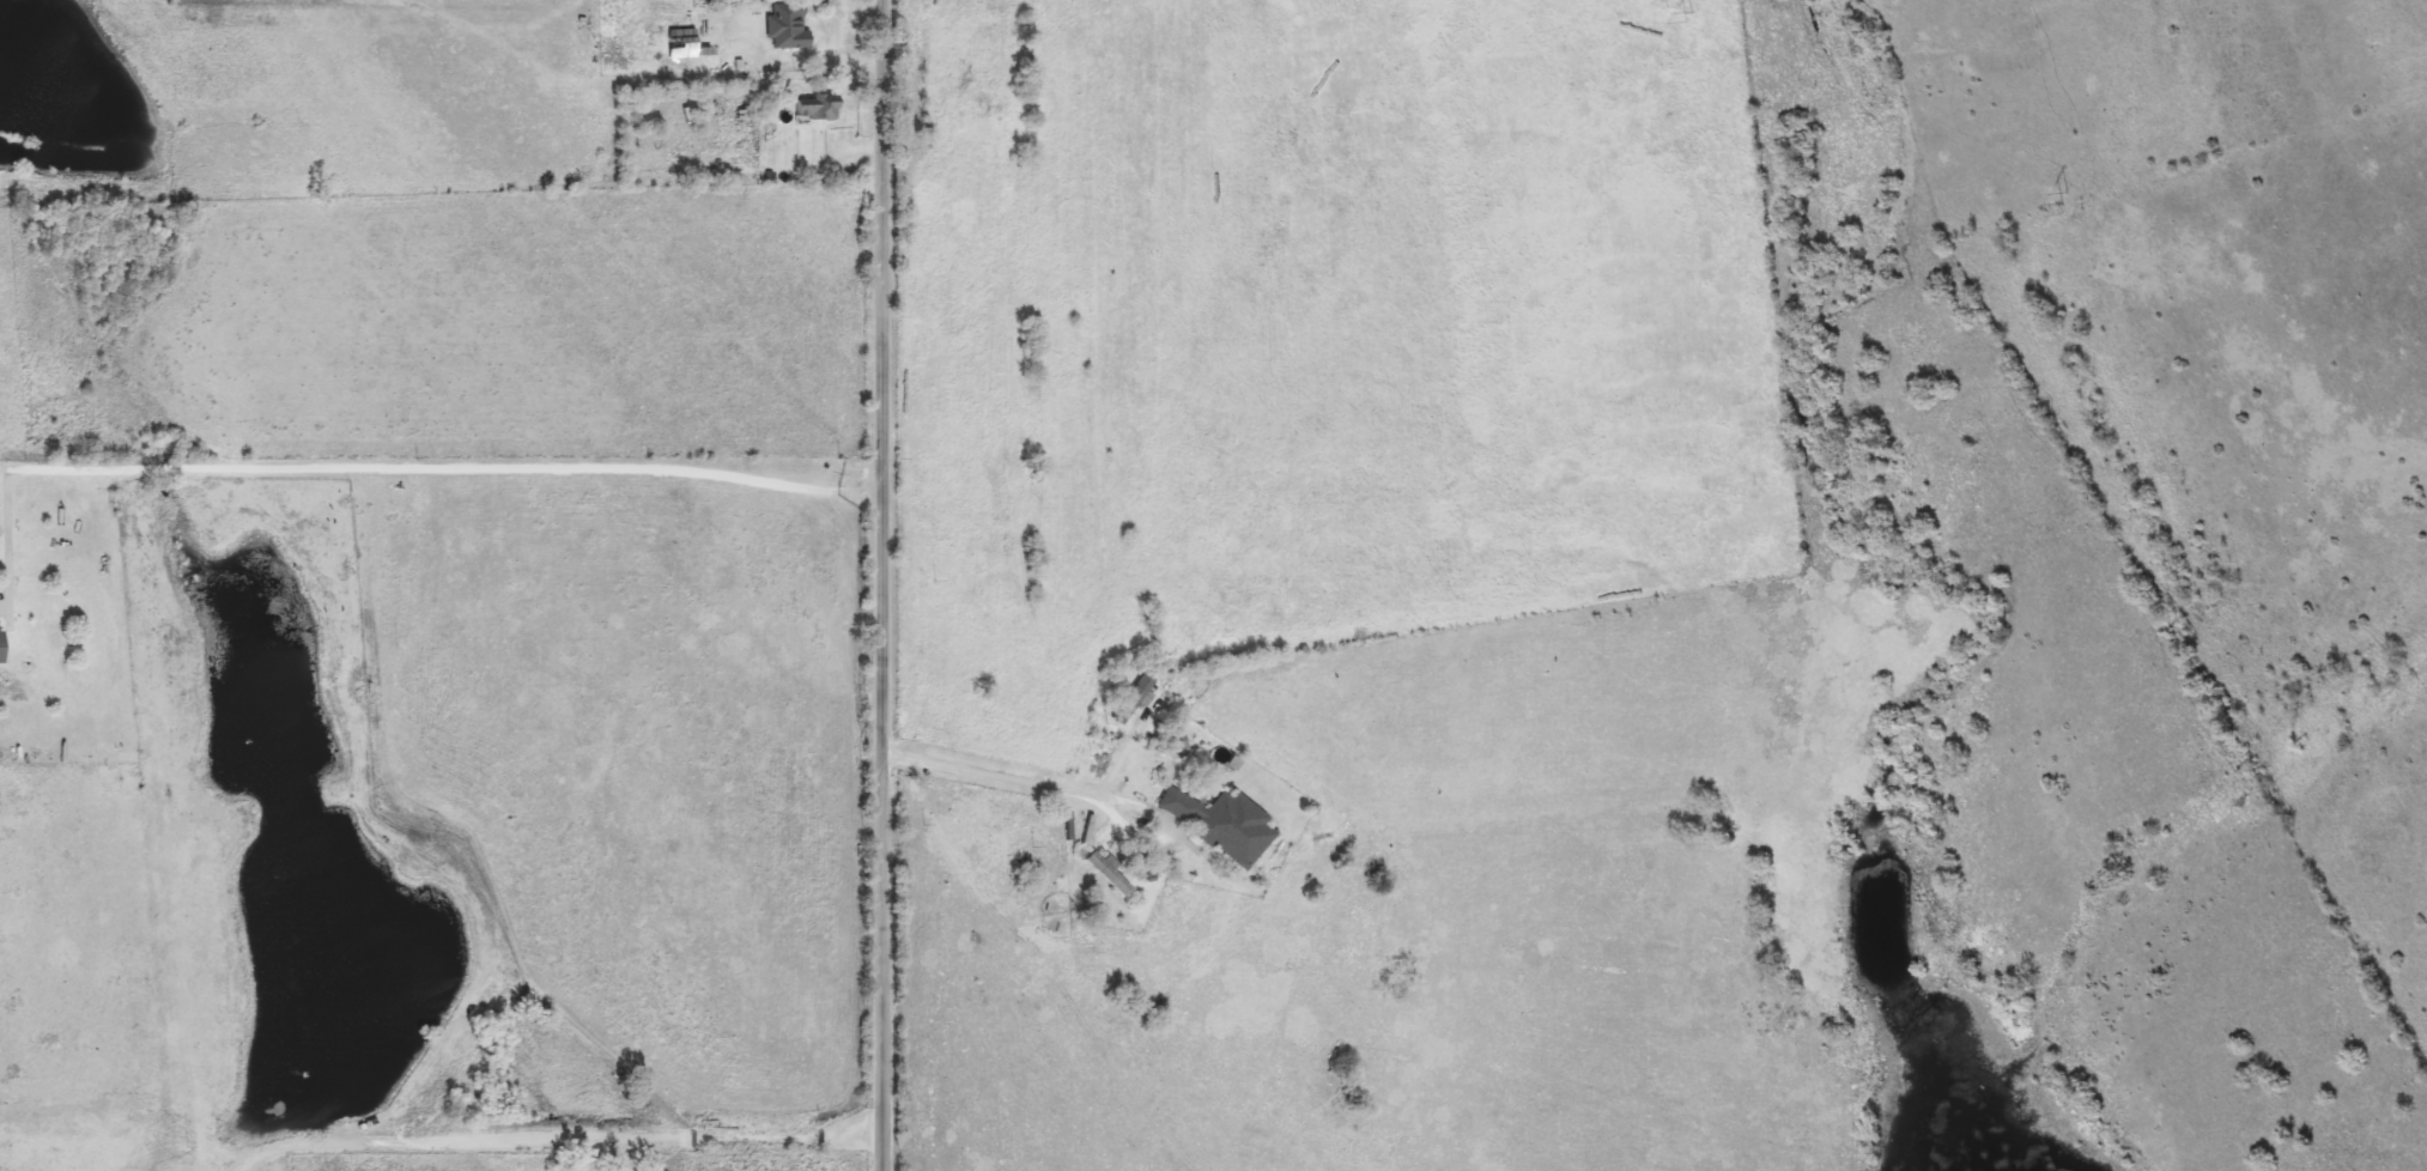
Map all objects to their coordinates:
building: (784, 26)
building: (678, 43)
building: (813, 108)
road: (384, 467)
road: (890, 585)
building: (1172, 741)
road: (995, 772)
building: (1220, 825)
building: (1105, 874)
road: (557, 1140)

